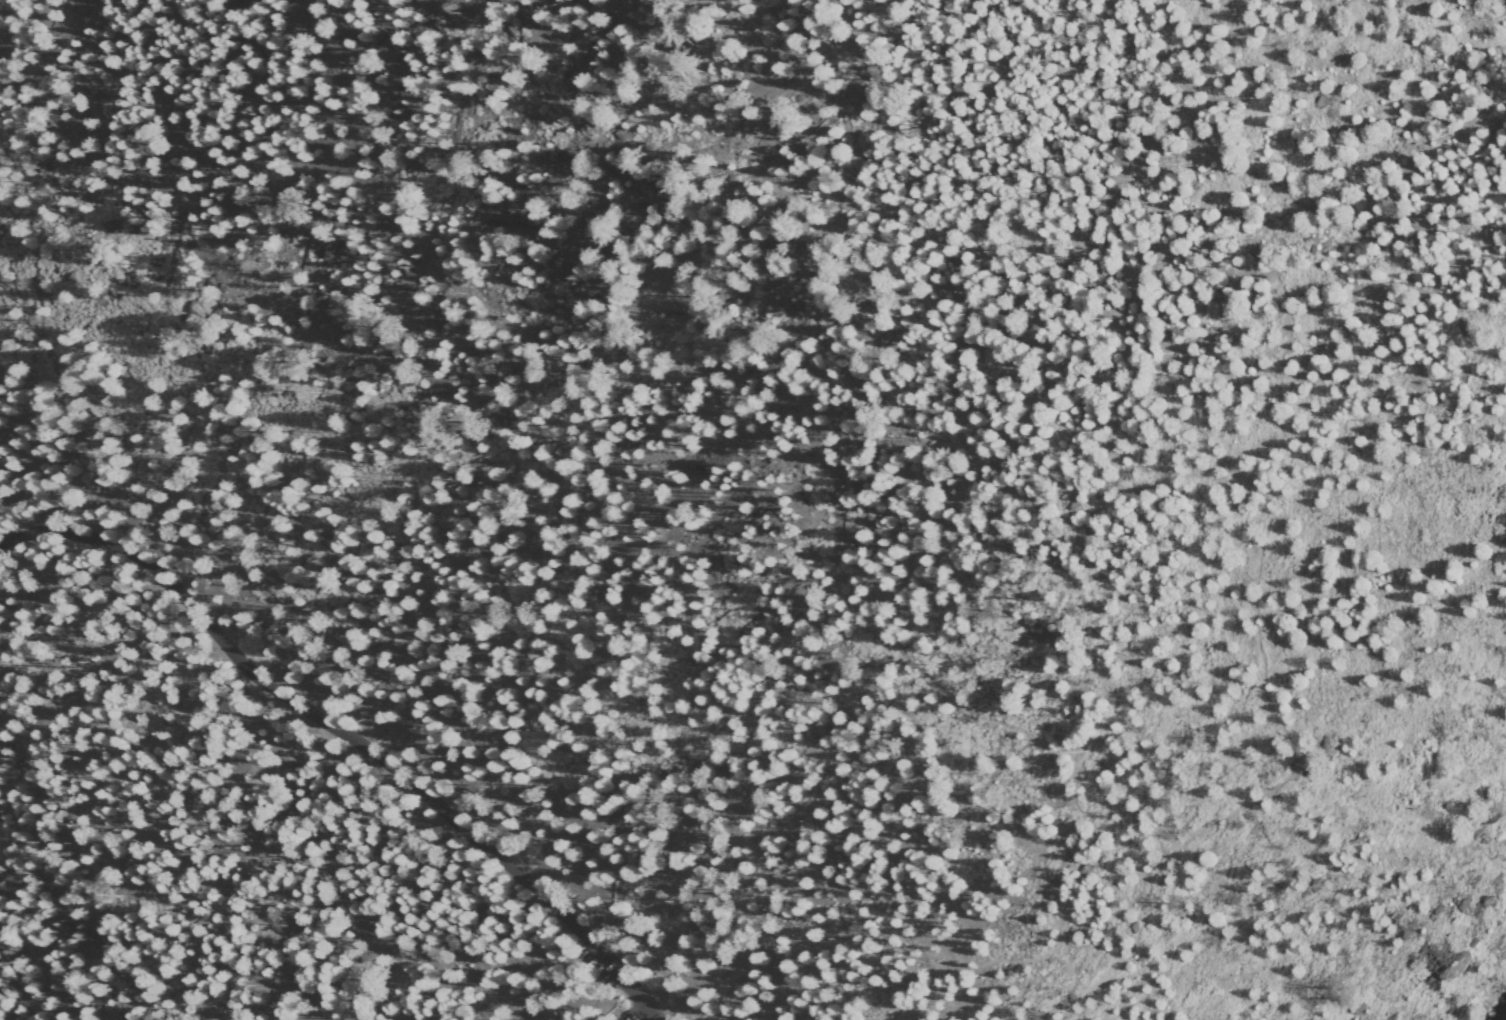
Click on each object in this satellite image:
road: (1261, 556)
road: (929, 681)
road: (343, 737)

